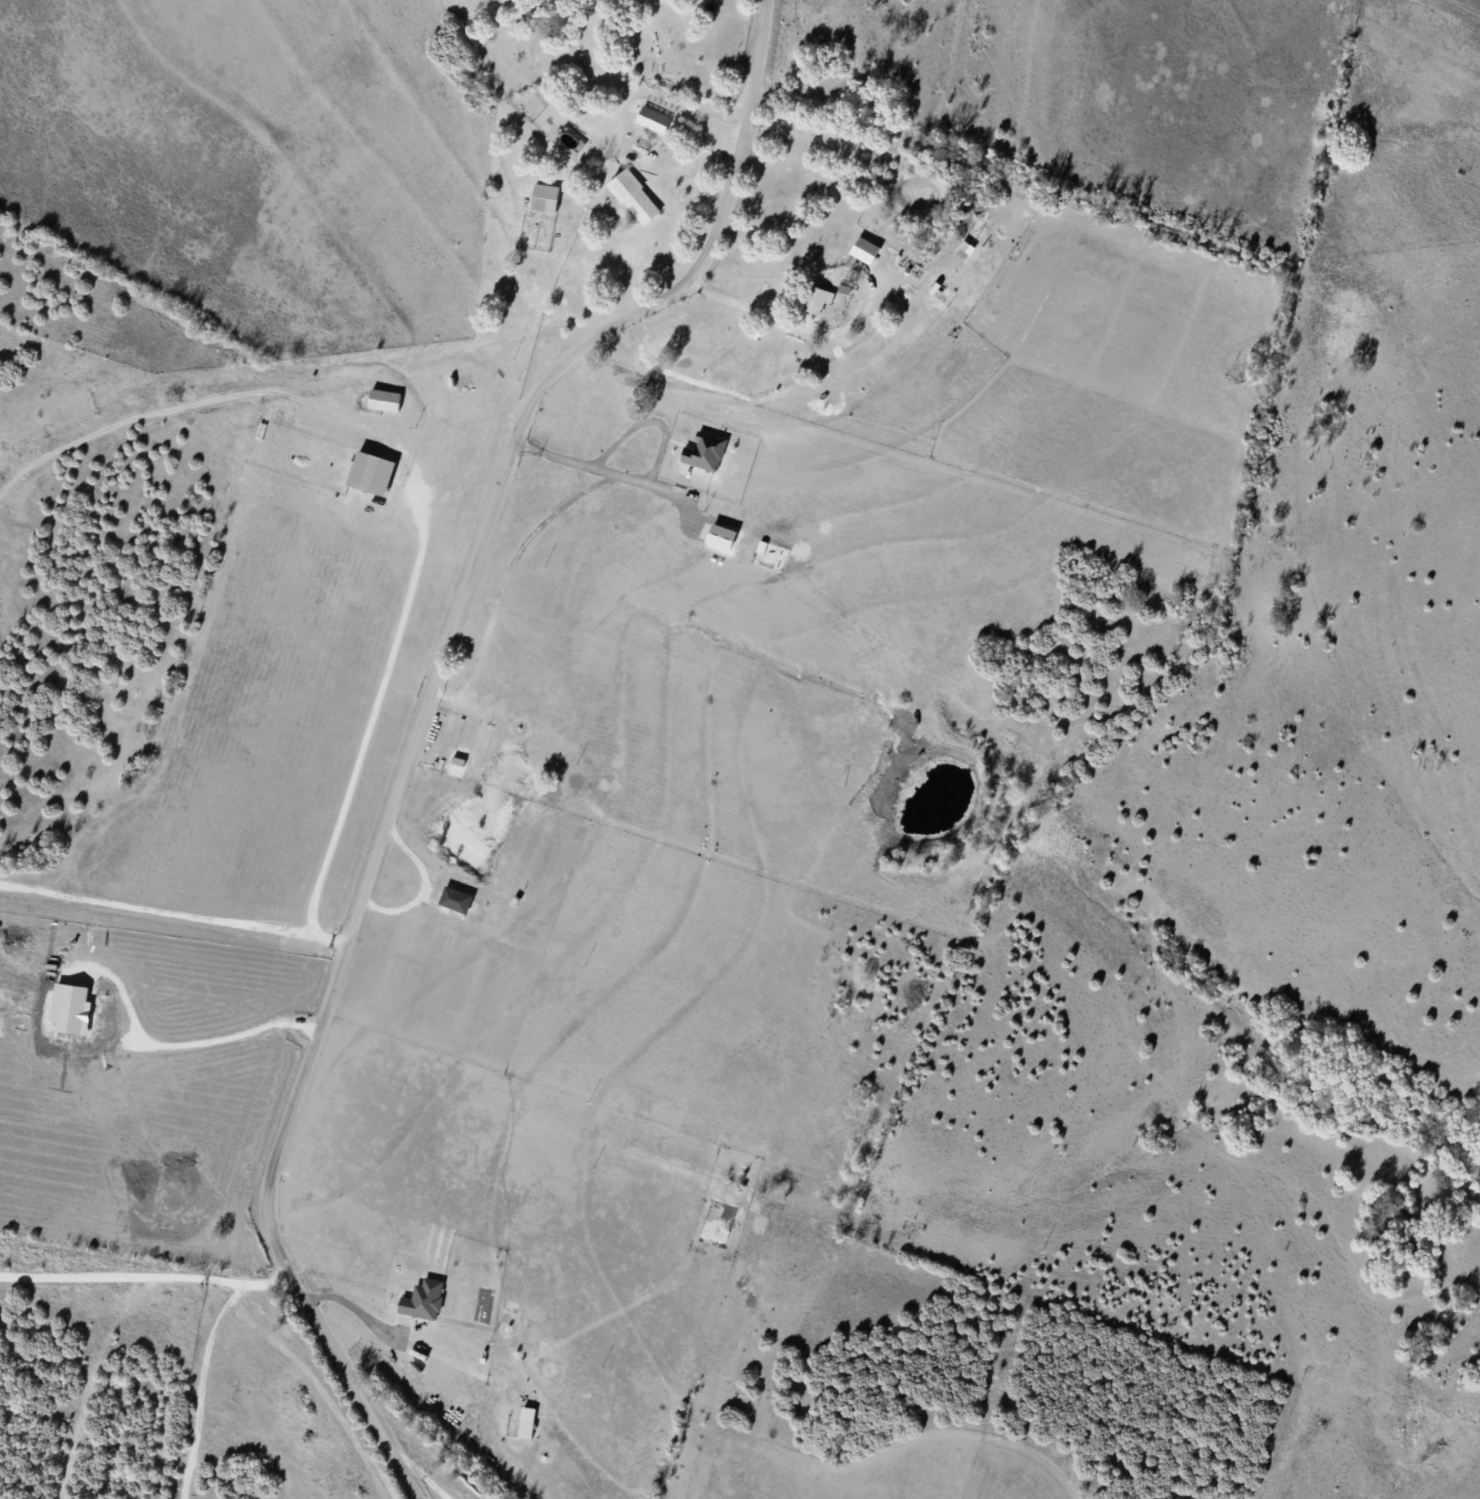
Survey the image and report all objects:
building: (653, 120)
building: (634, 196)
building: (544, 197)
building: (817, 299)
road: (278, 388)
building: (384, 399)
building: (371, 473)
road: (421, 724)
road: (174, 913)

